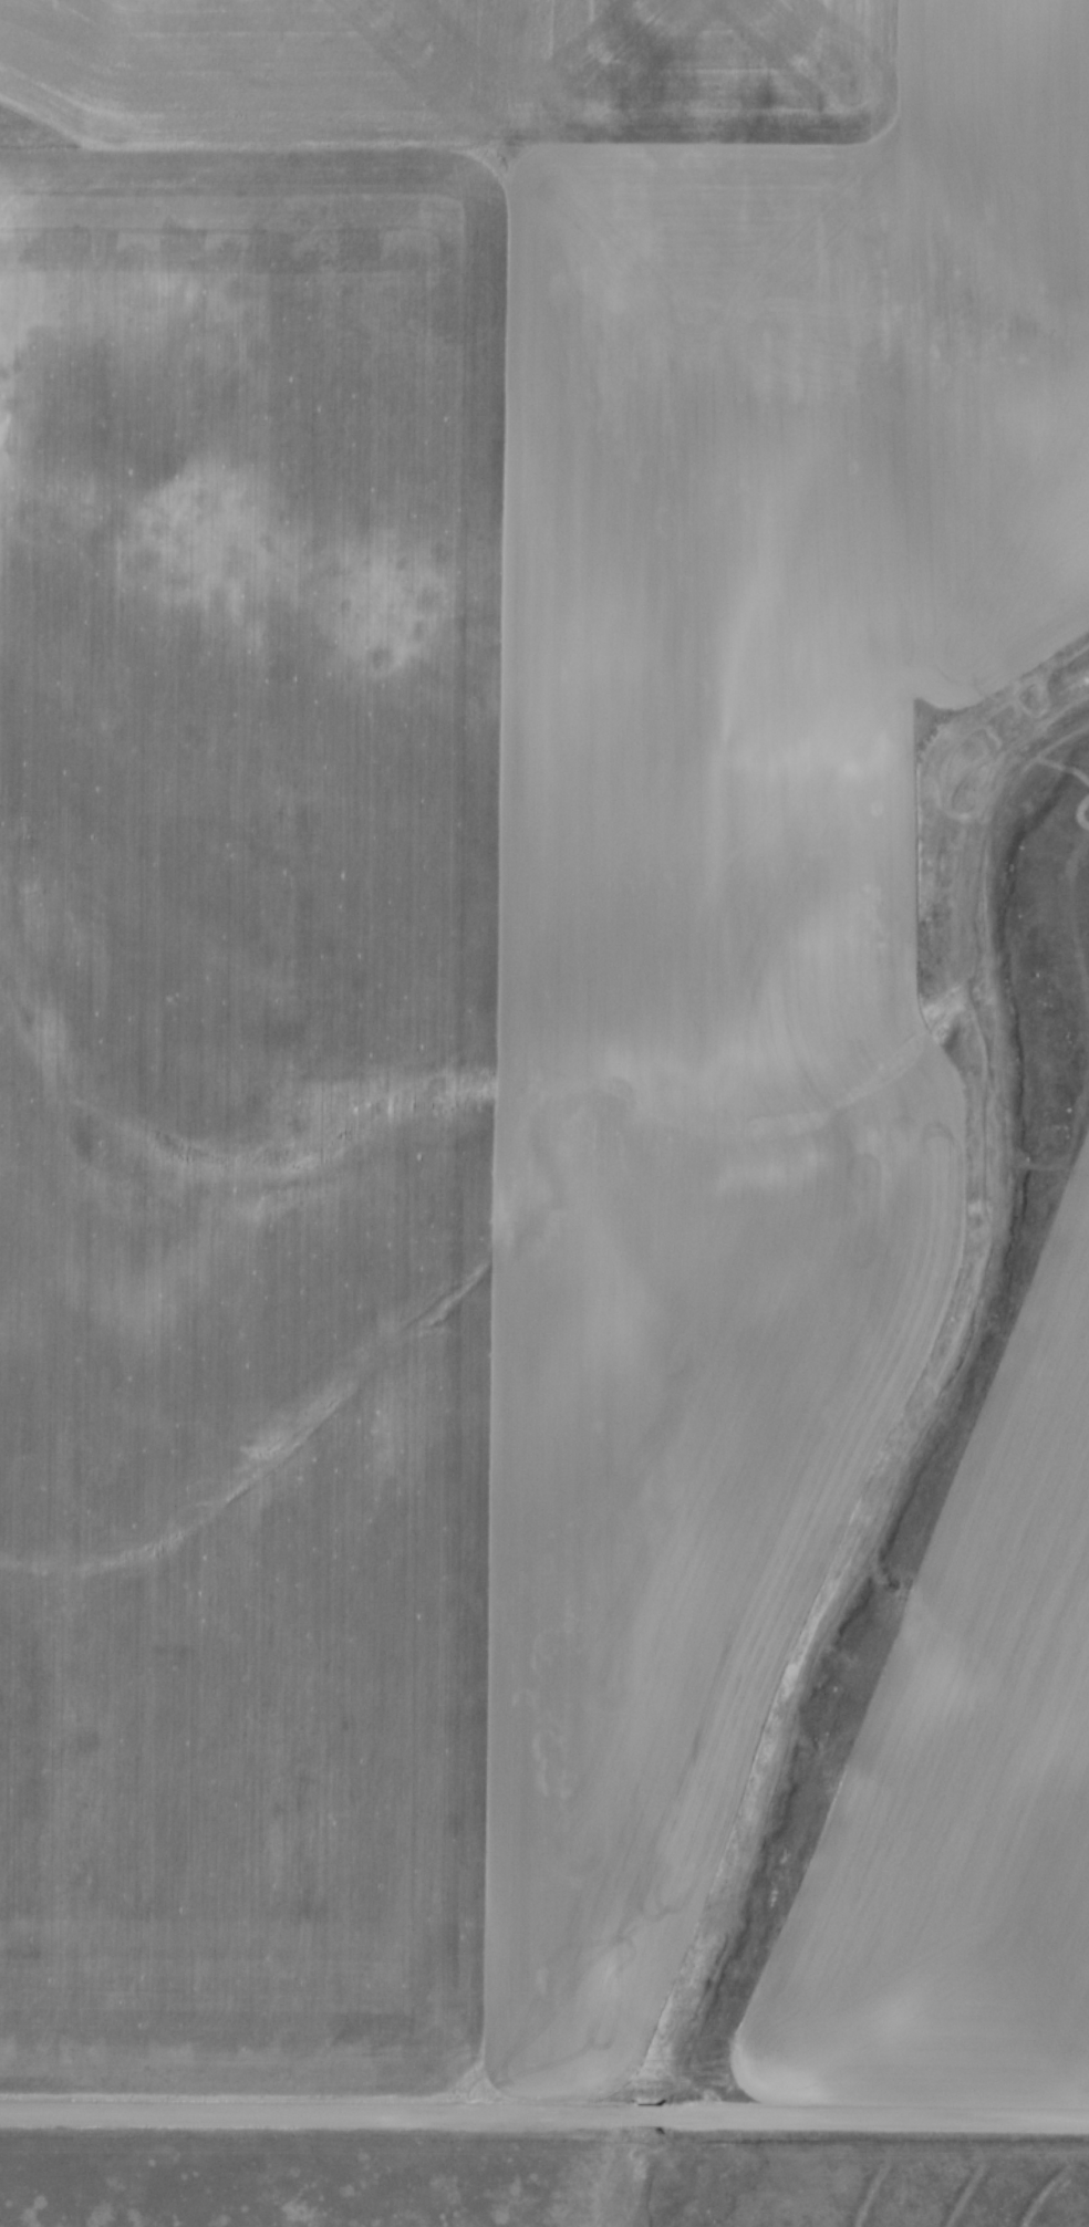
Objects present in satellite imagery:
road: (315, 2111)
road: (645, 2111)
road: (874, 2113)

